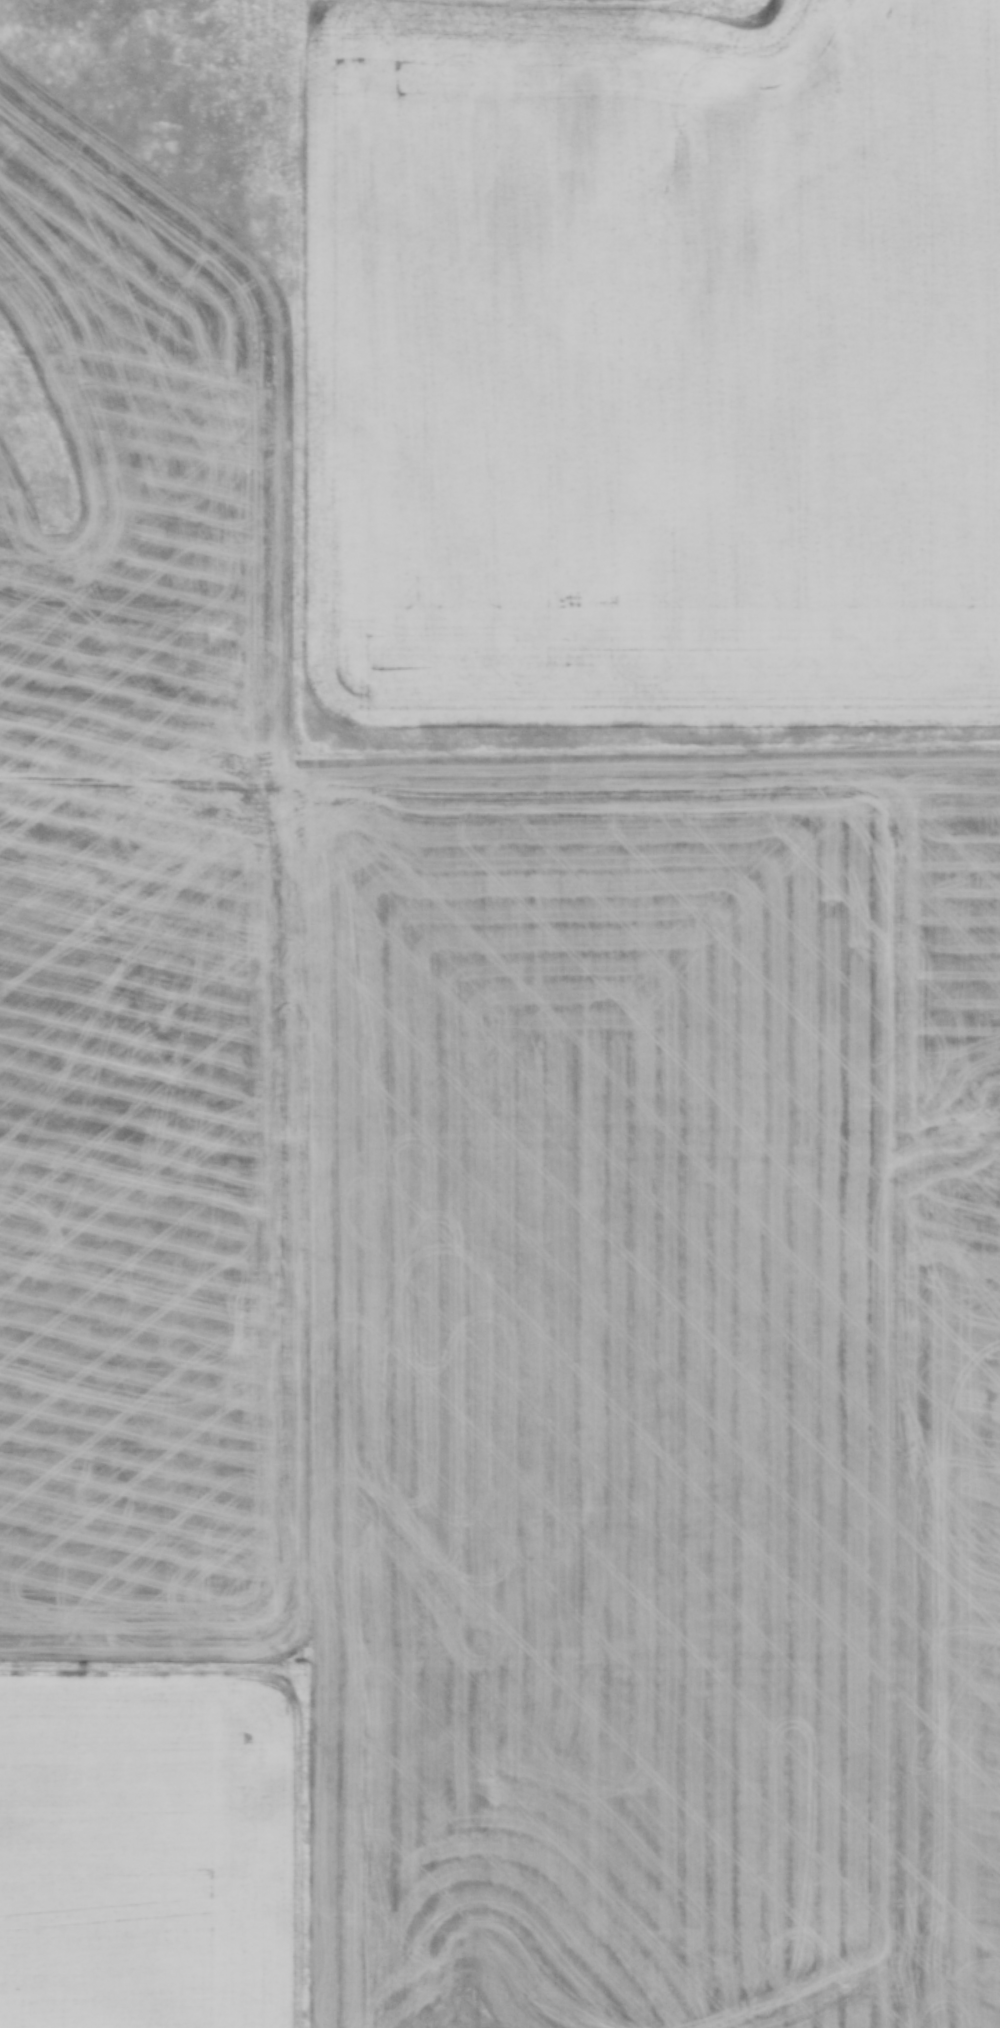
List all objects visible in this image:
crop: (142, 1855)

